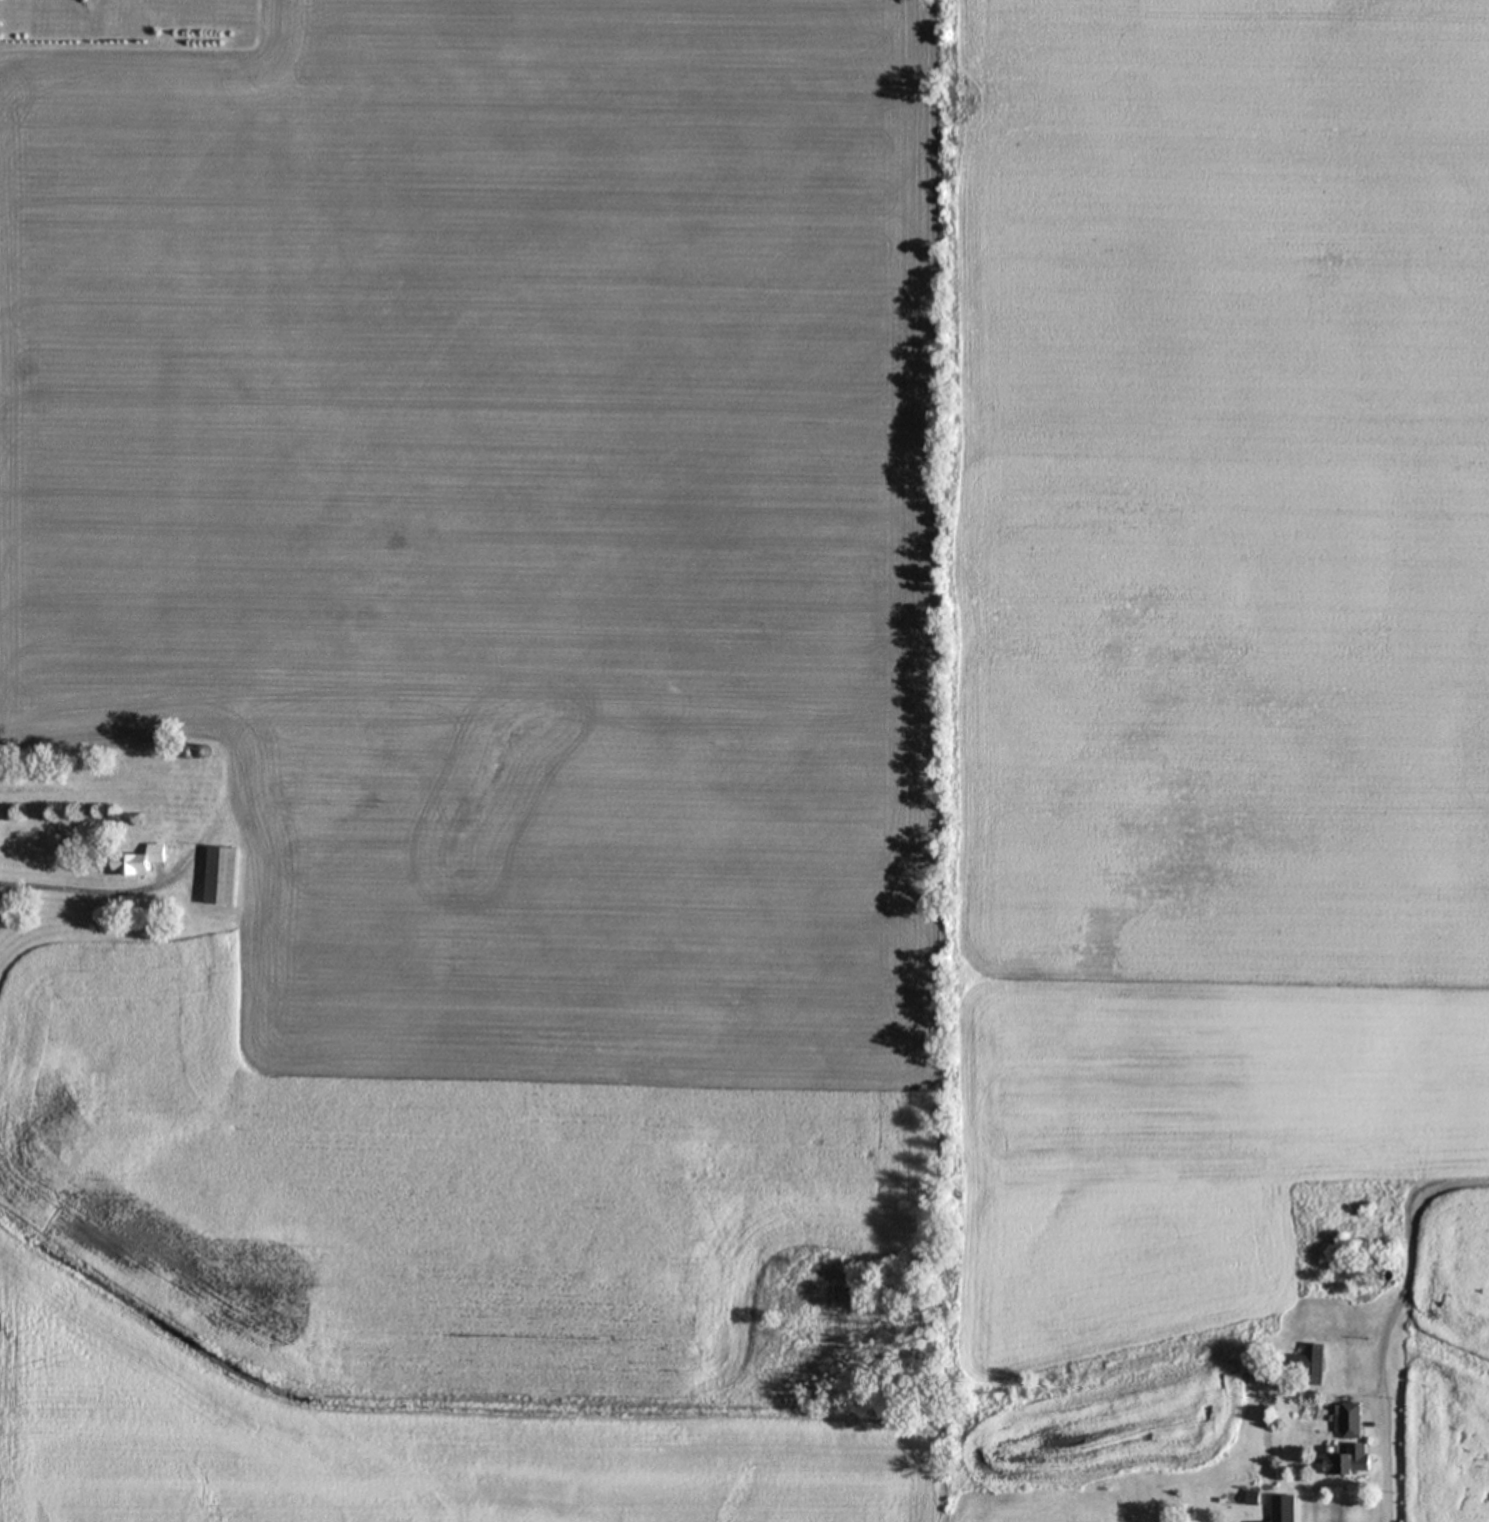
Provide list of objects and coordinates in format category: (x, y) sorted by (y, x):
building: (298, 757)
building: (142, 863)
building: (224, 877)
road: (142, 885)
building: (1311, 1367)
building: (1351, 1422)
road: (1385, 1456)
building: (1352, 1462)
building: (1284, 1509)

